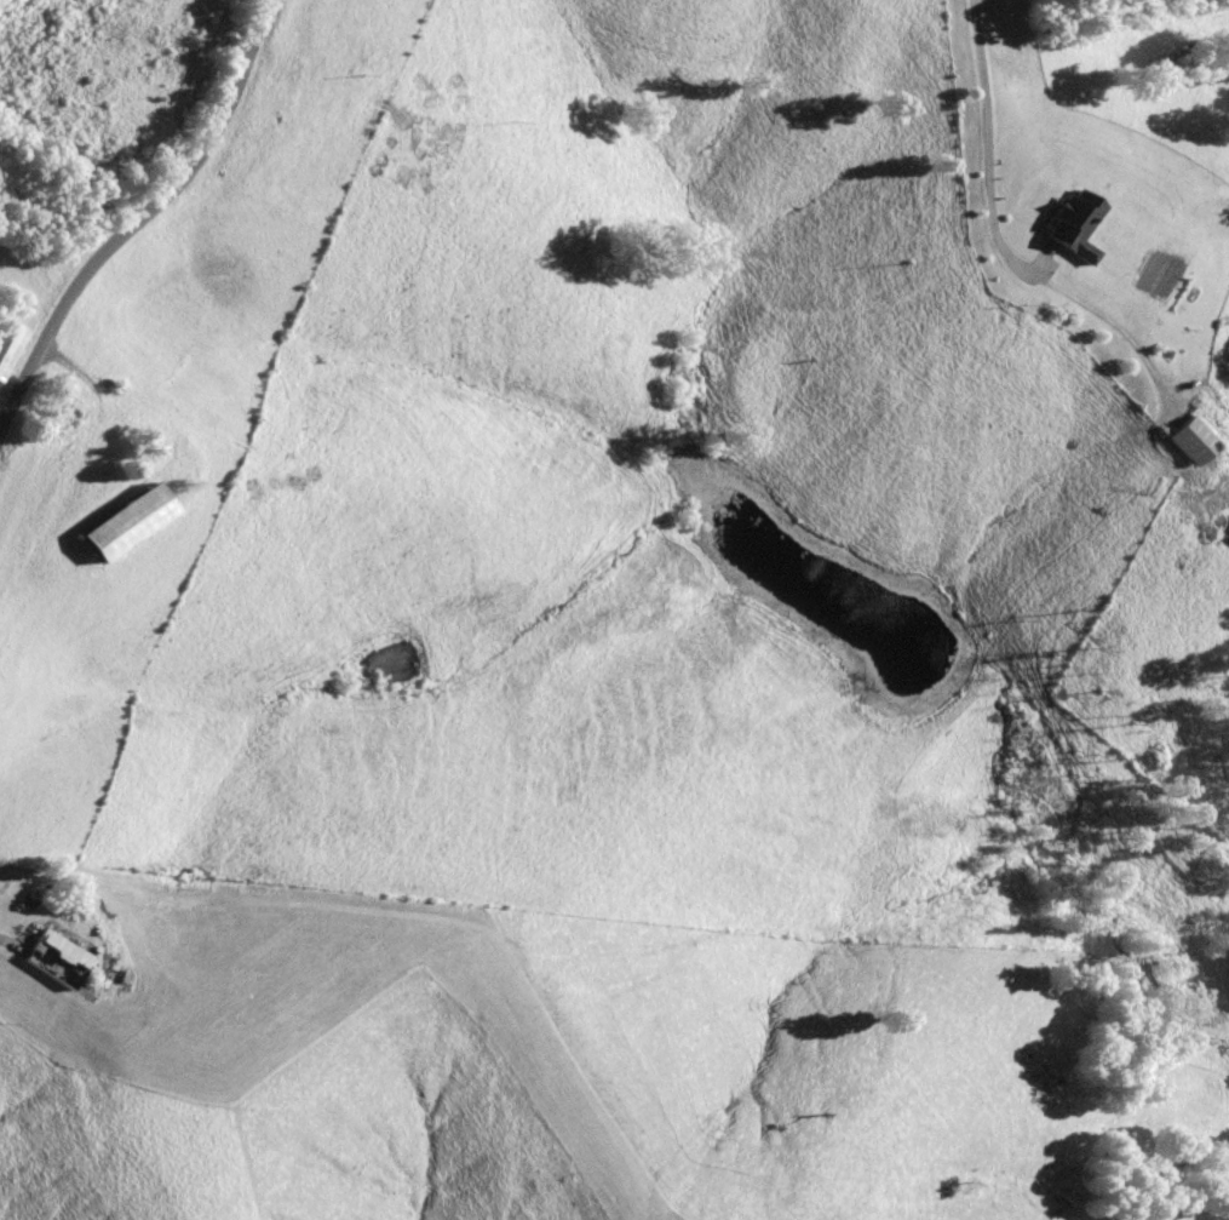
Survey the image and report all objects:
road: (138, 219)
building: (1079, 225)
road: (1001, 244)
building: (7, 342)
building: (1196, 439)
building: (125, 517)
road: (12, 941)
building: (61, 958)

